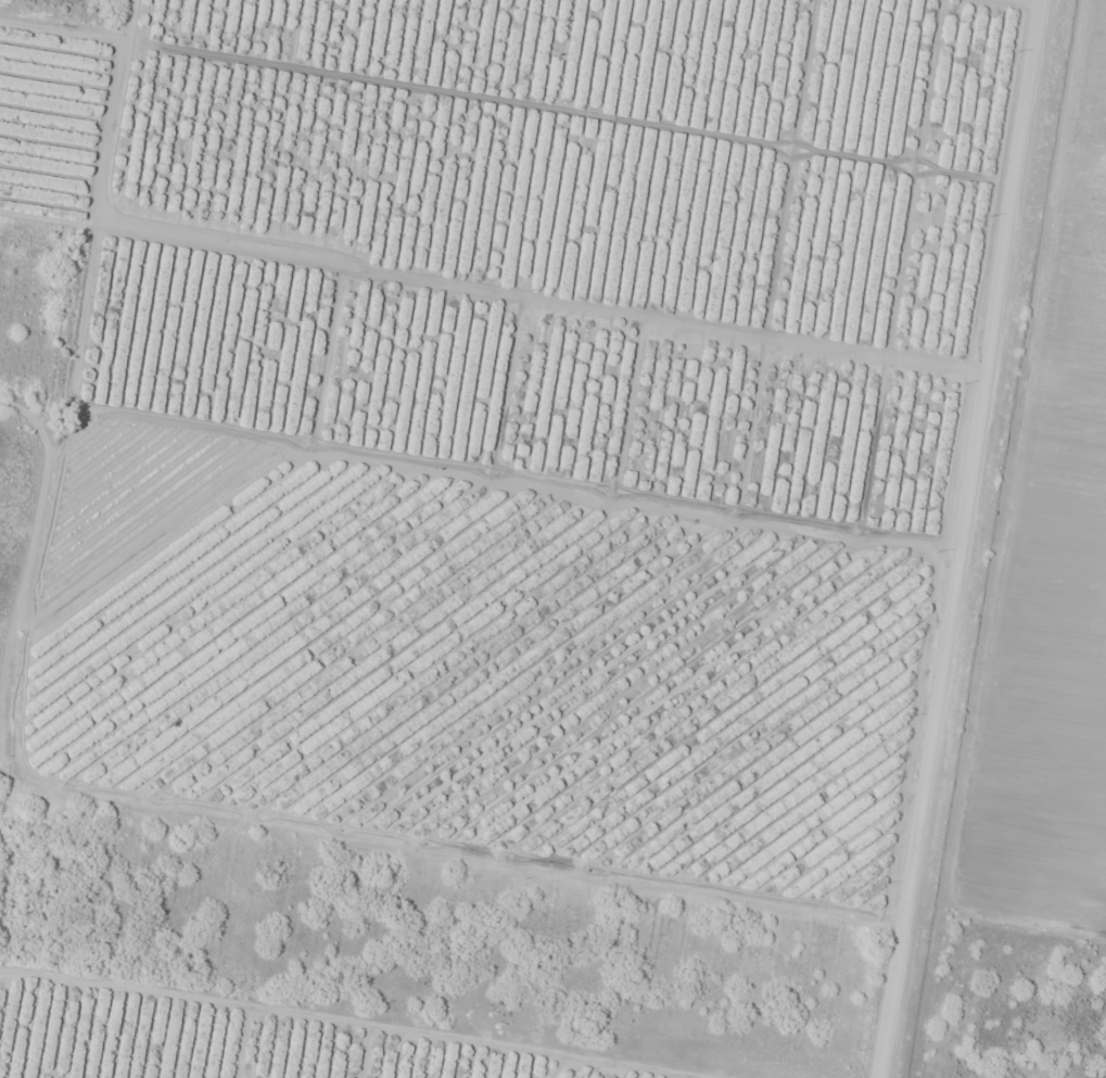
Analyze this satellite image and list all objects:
road: (958, 538)

